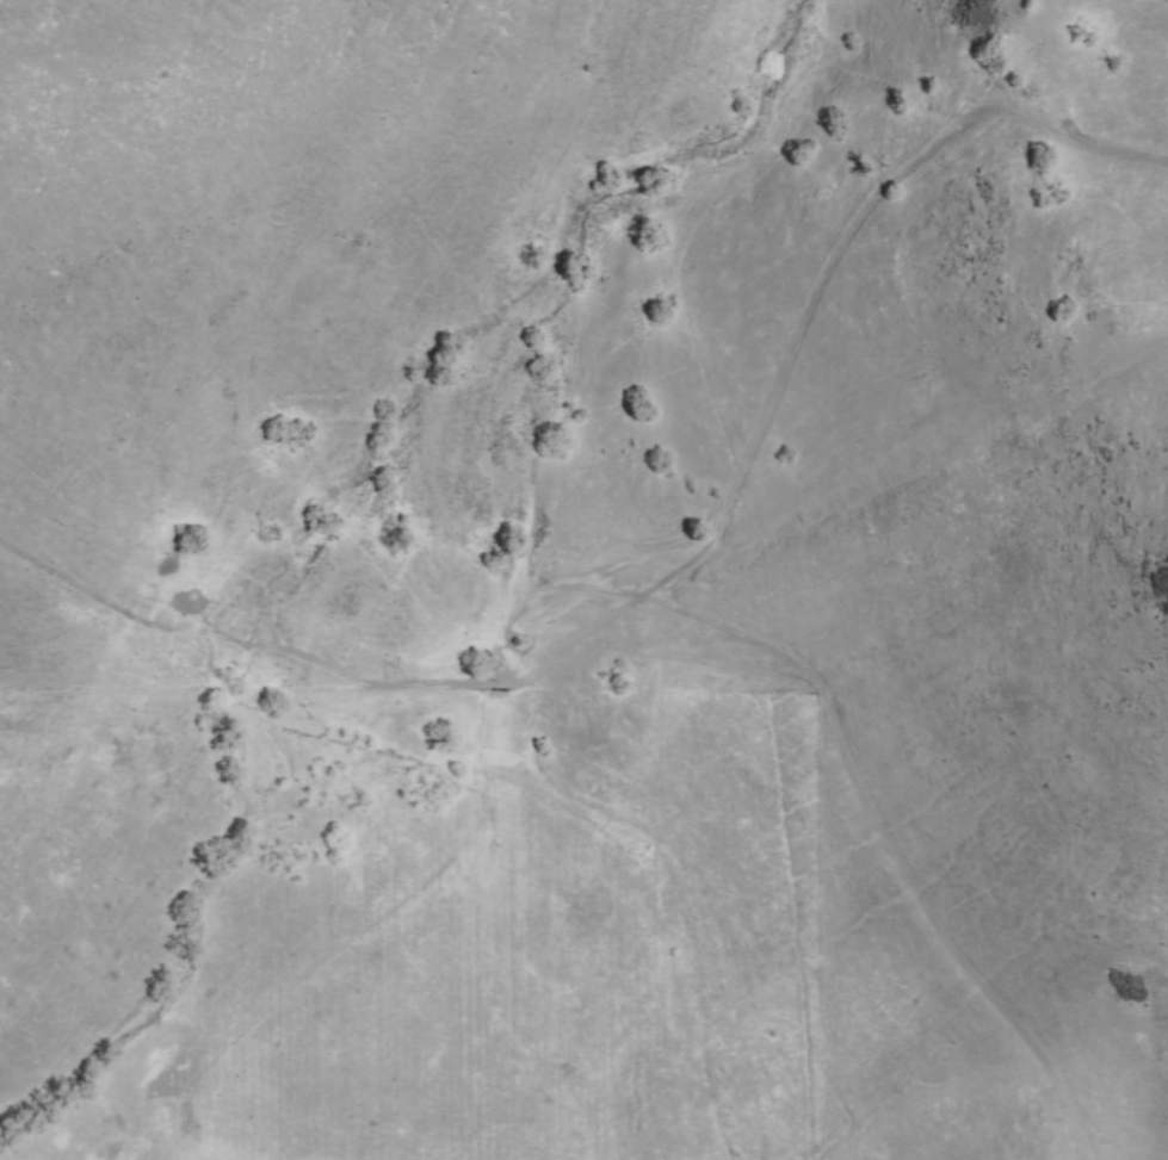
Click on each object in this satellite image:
road: (690, 565)
crop: (358, 631)
road: (276, 681)
road: (888, 852)

